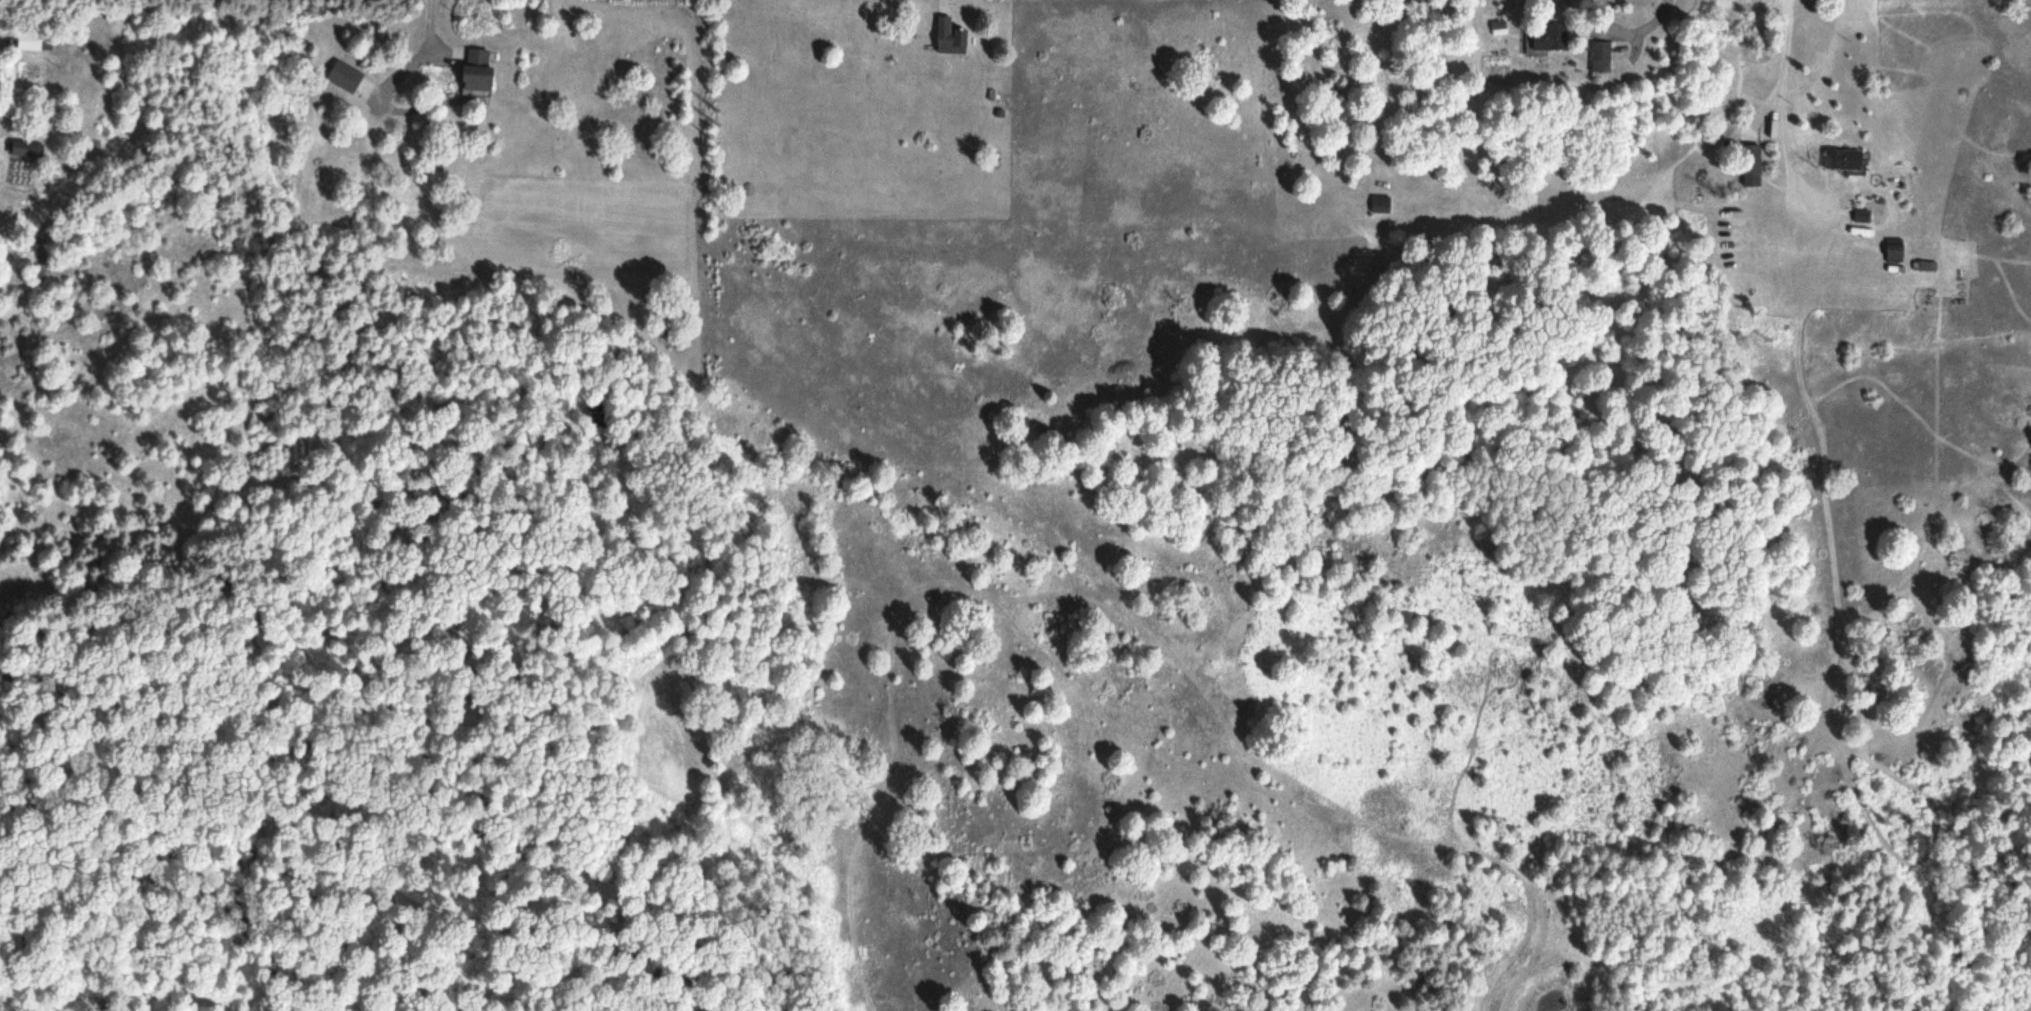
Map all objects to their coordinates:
building: (951, 36)
building: (1555, 36)
building: (35, 40)
building: (1606, 54)
building: (479, 69)
building: (346, 75)
building: (26, 147)
building: (1845, 158)
building: (1752, 164)
building: (1382, 202)
building: (1863, 215)
building: (1896, 250)
building: (1926, 265)

